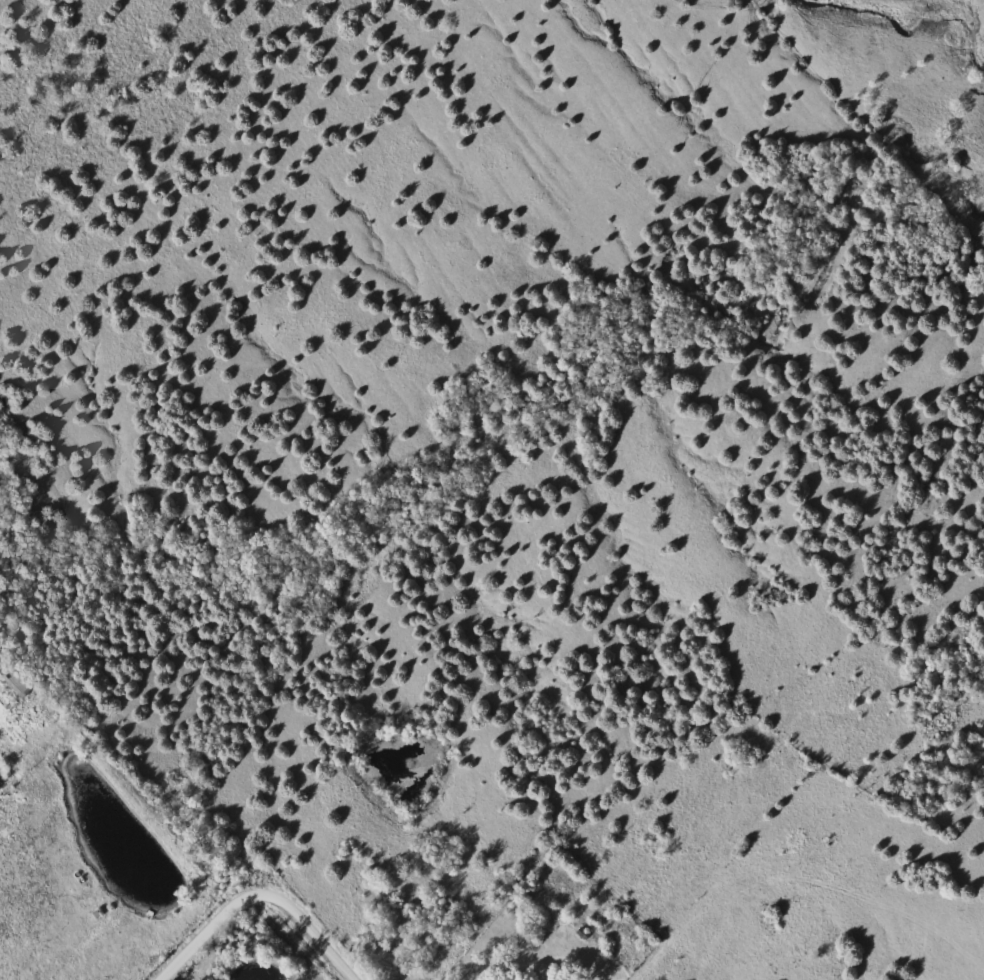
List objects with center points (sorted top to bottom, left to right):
road: (262, 893)

